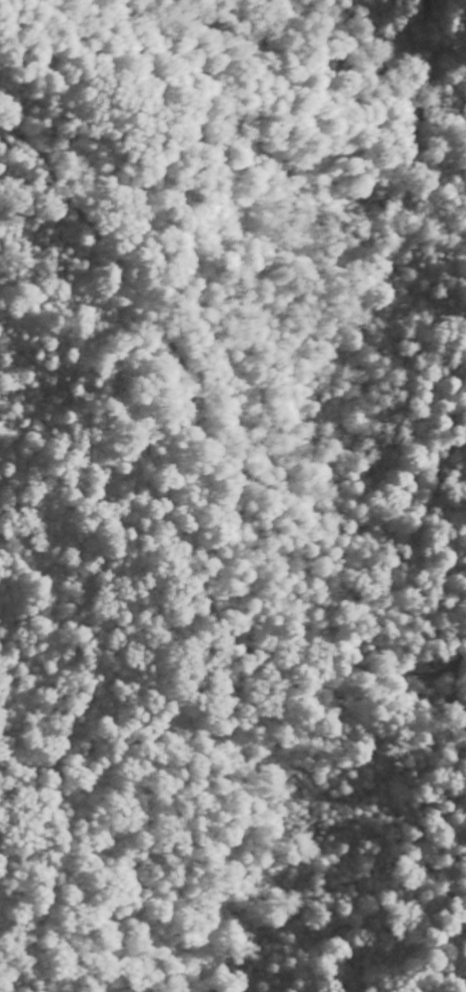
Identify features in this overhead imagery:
road: (134, 210)

